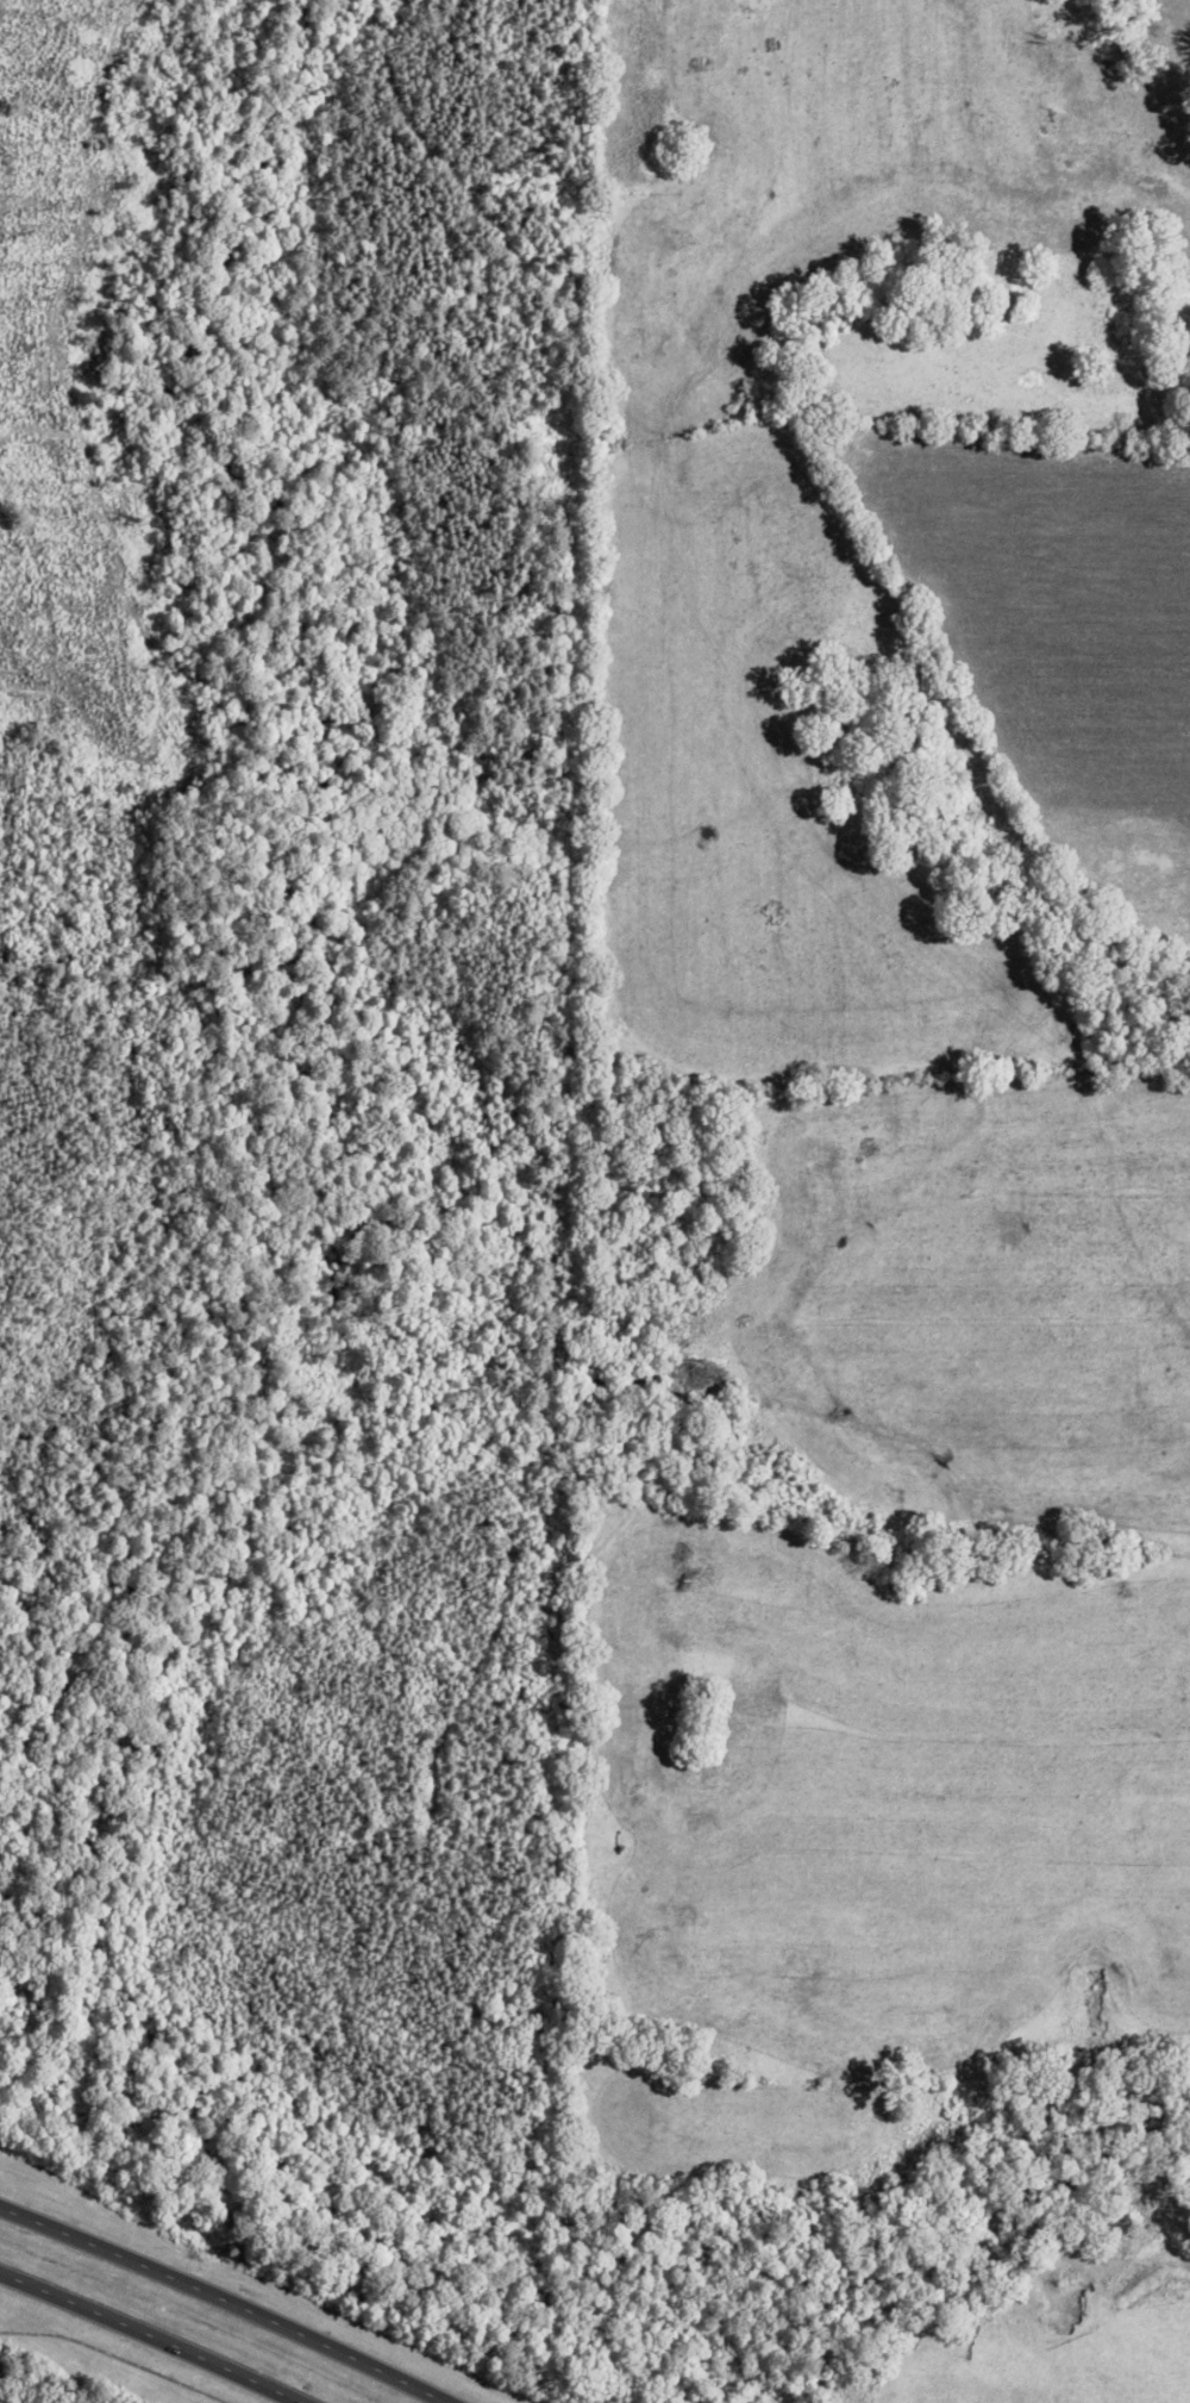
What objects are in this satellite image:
road: (221, 2299)
road: (151, 2336)

